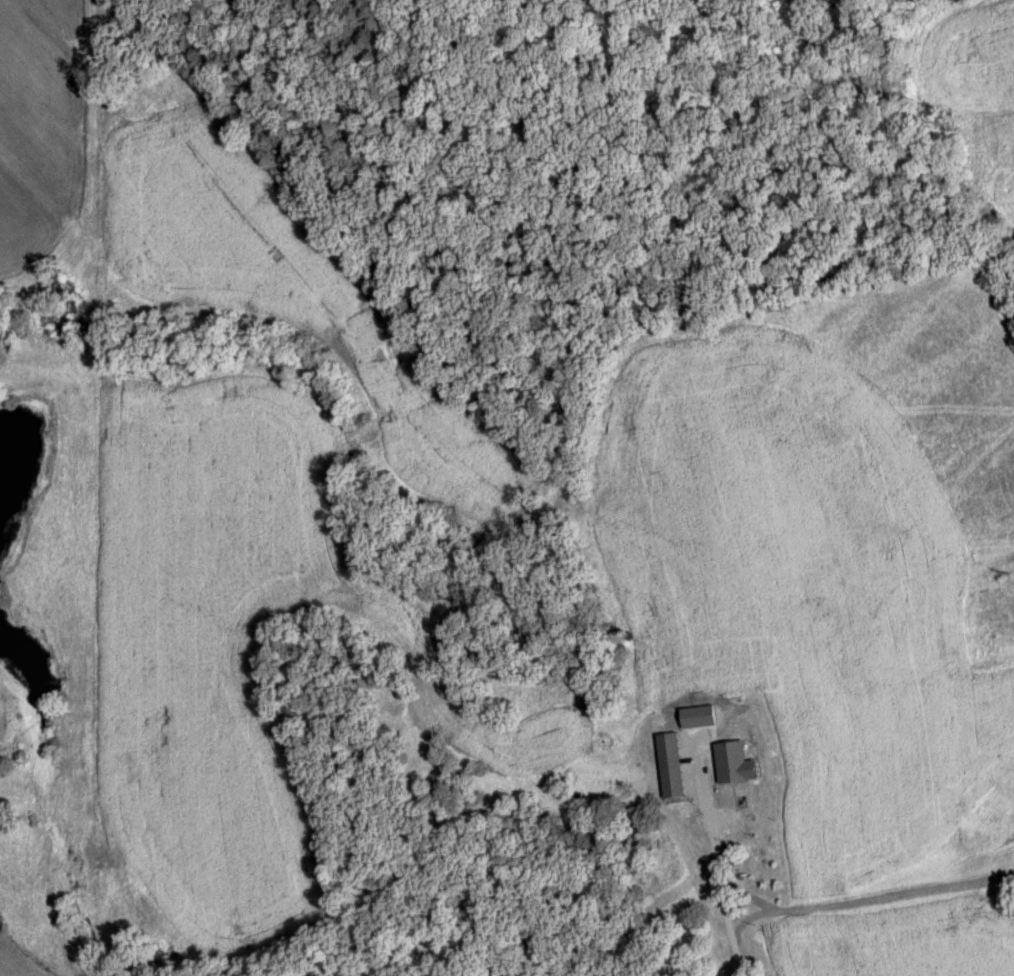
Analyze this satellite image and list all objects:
building: (669, 752)
building: (731, 764)
building: (759, 883)
road: (173, 966)

